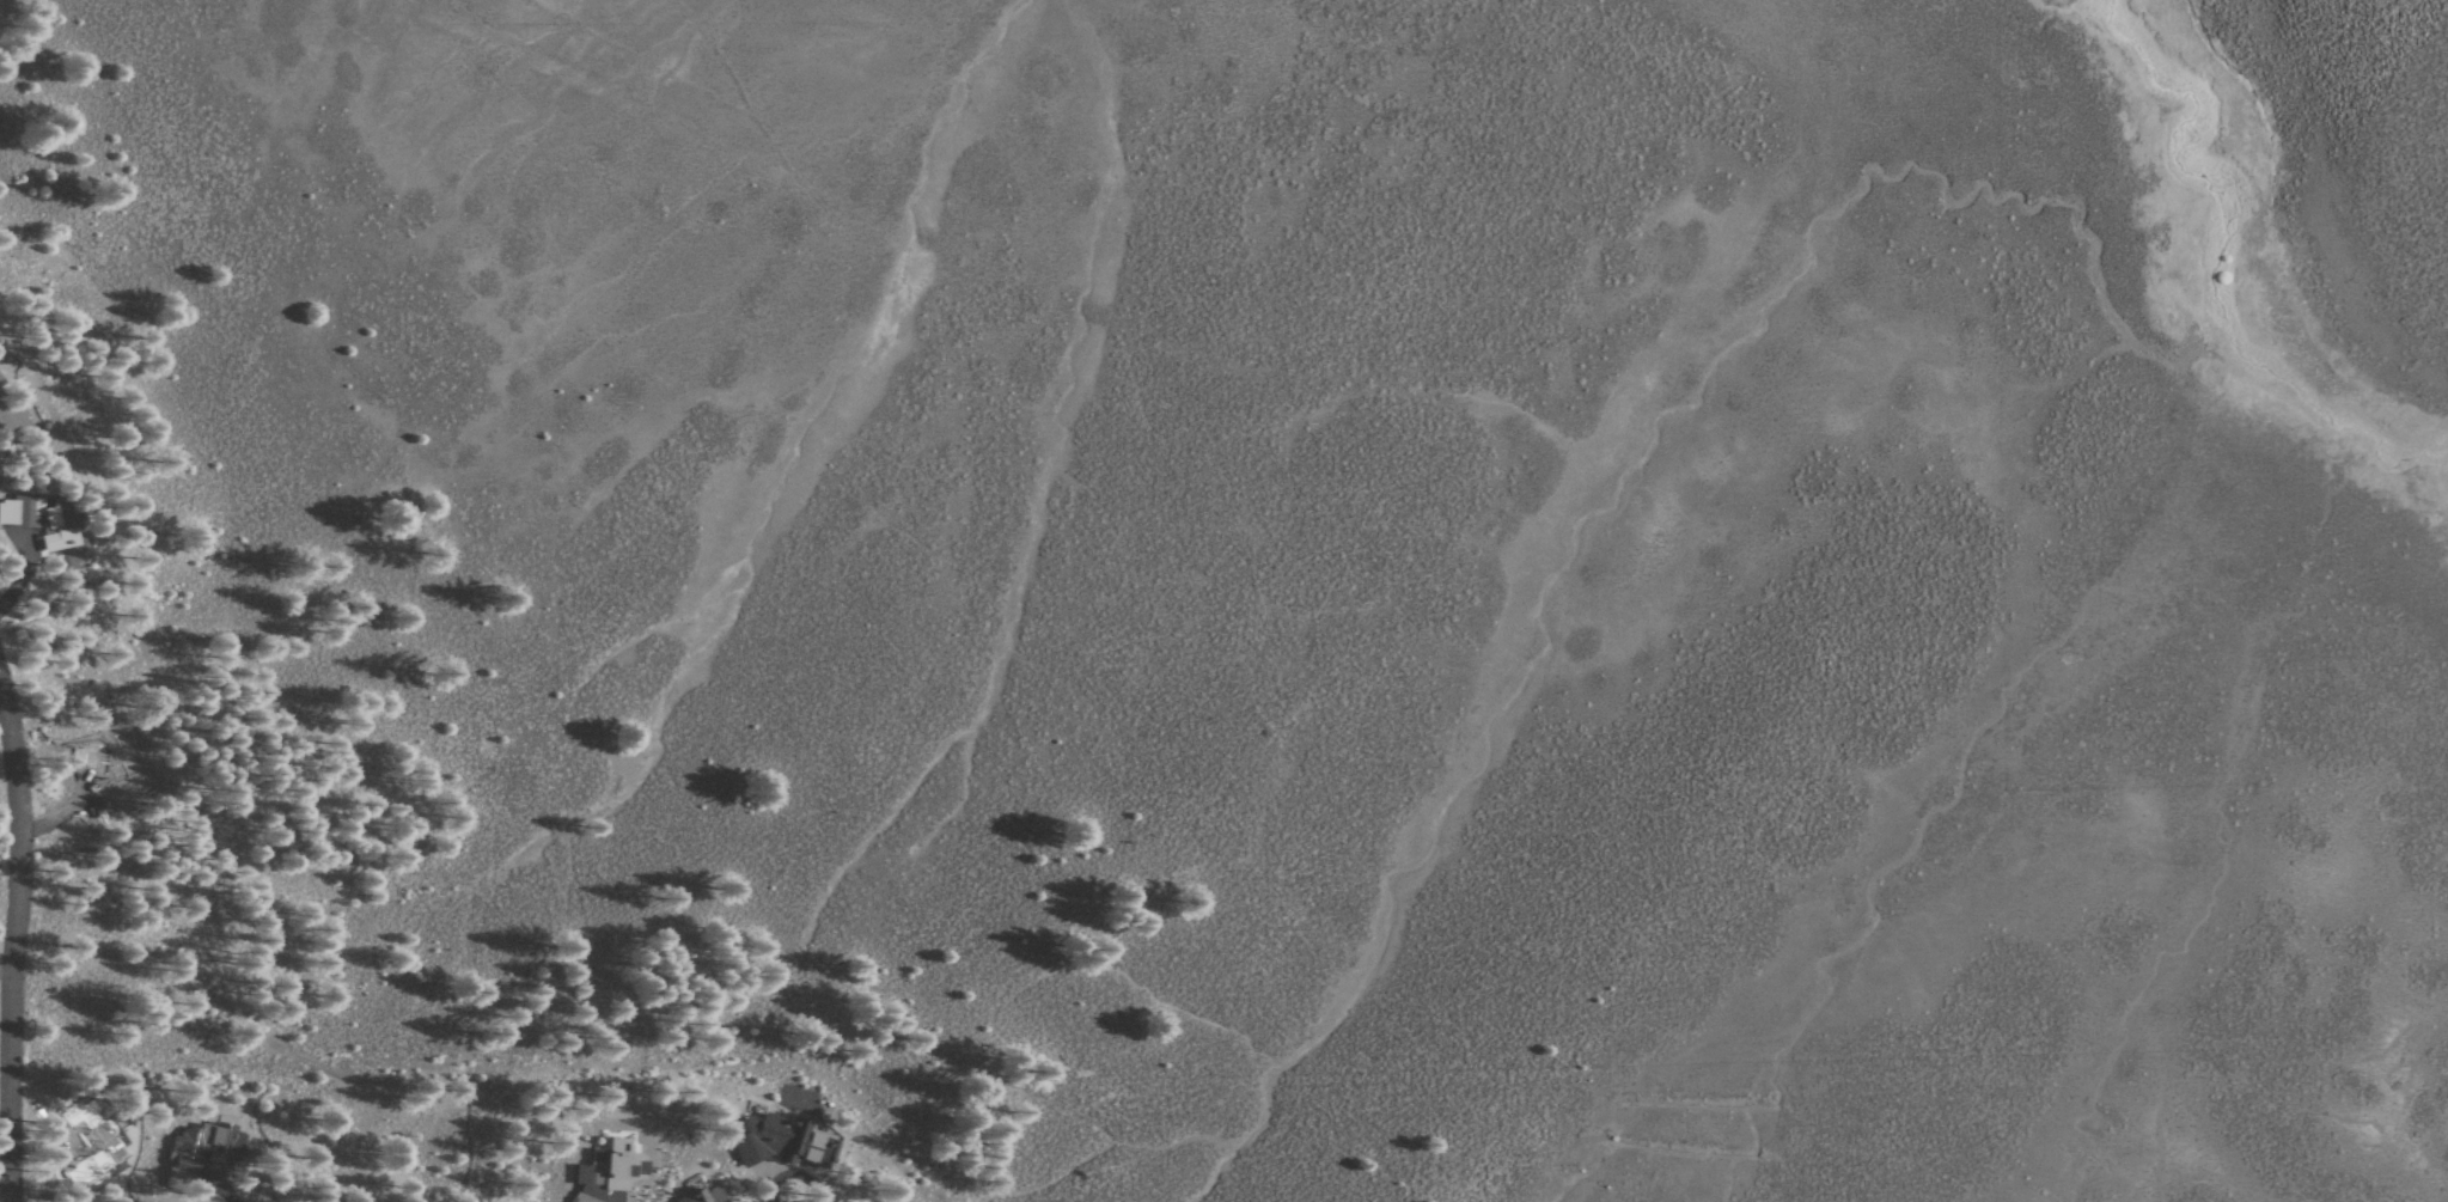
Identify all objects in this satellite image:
road: (2, 964)
building: (779, 1140)
building: (704, 1196)

